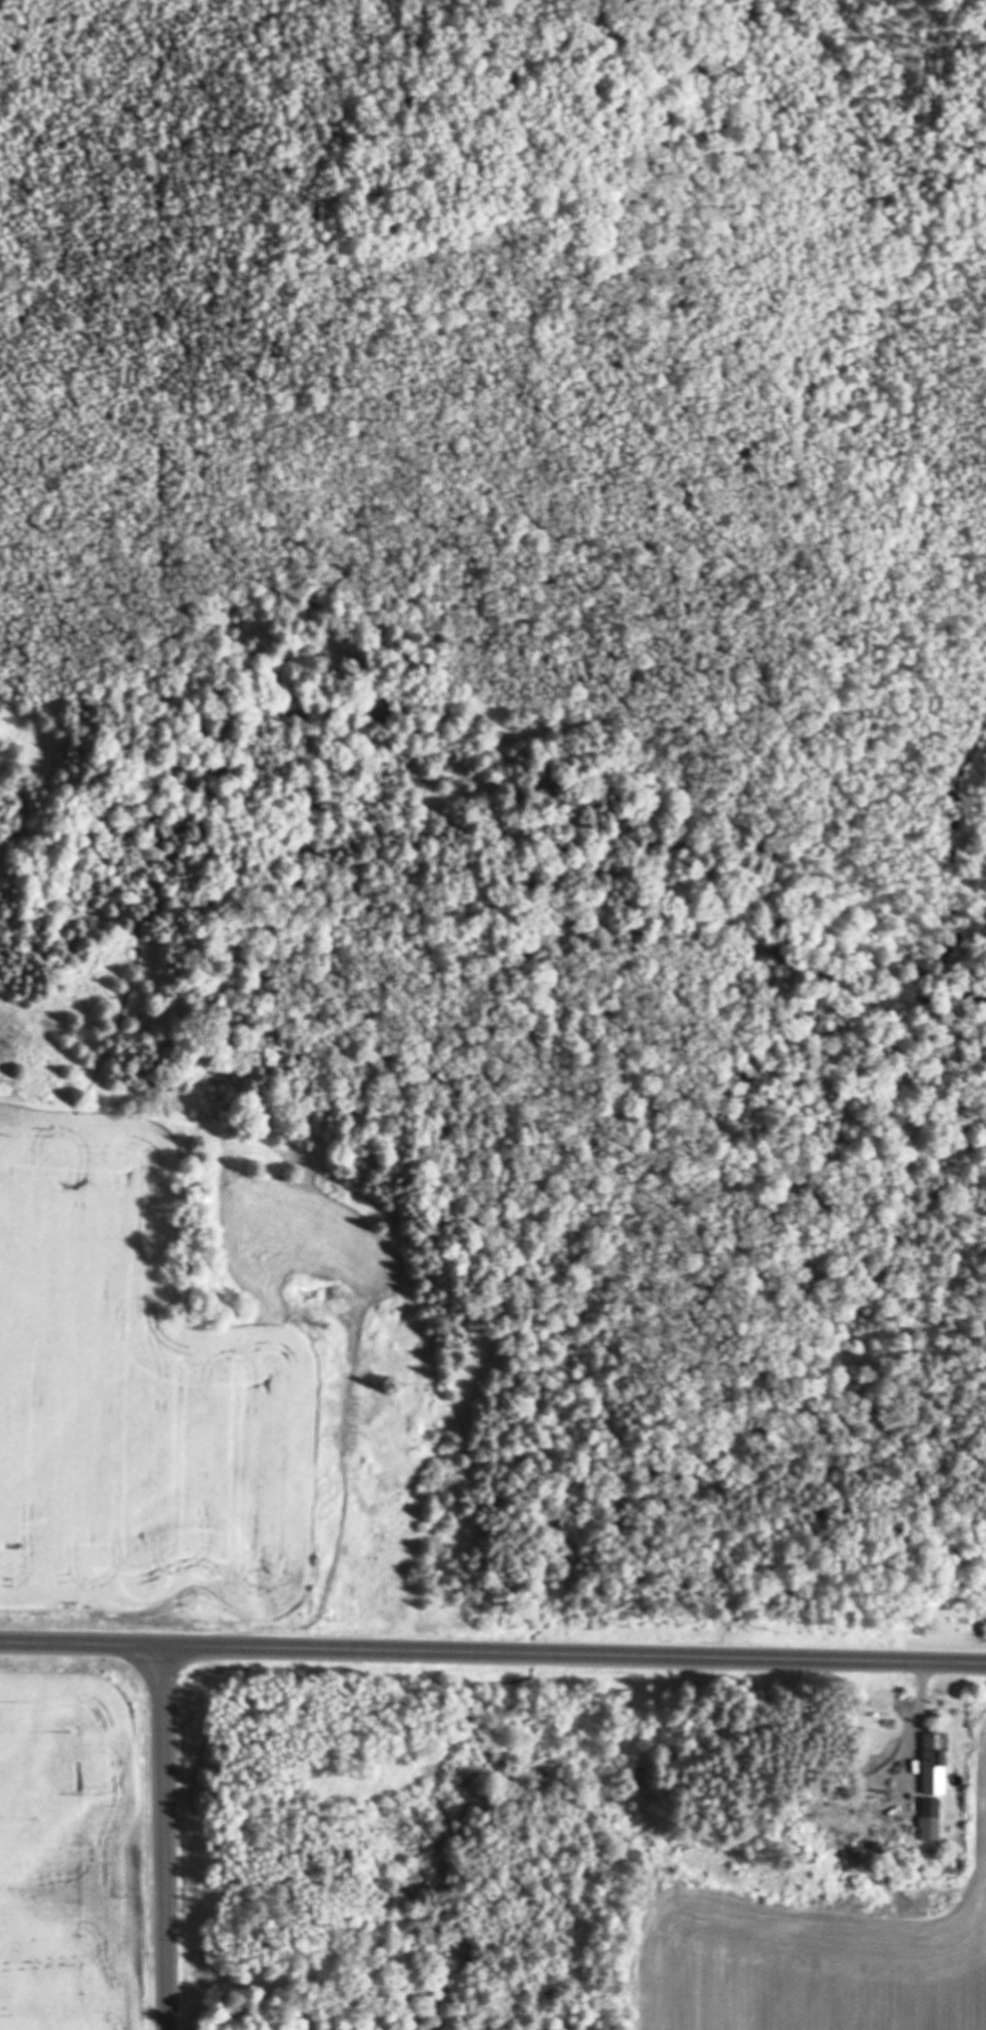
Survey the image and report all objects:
road: (83, 1646)
road: (576, 1656)
building: (934, 1763)
building: (930, 1810)
road: (167, 1839)

